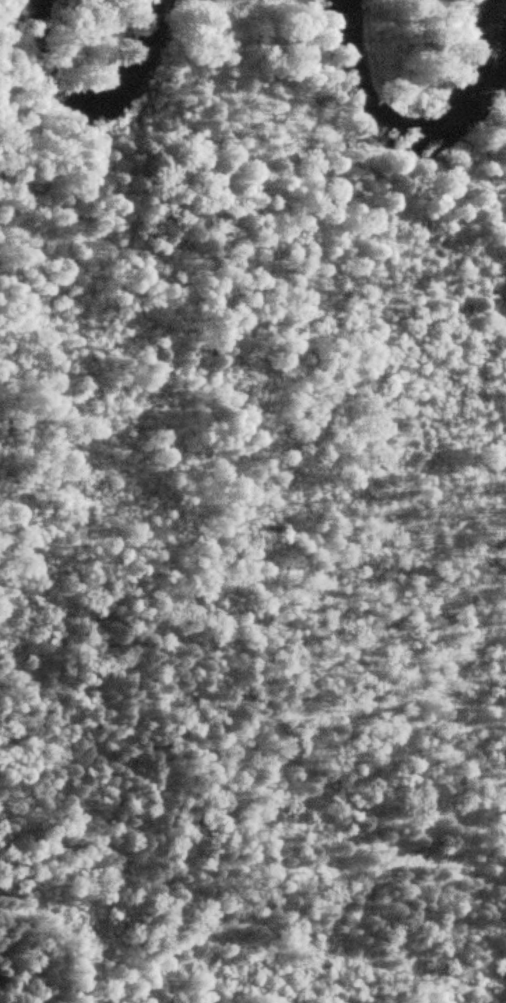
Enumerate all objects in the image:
river: (87, 110)
river: (411, 138)

